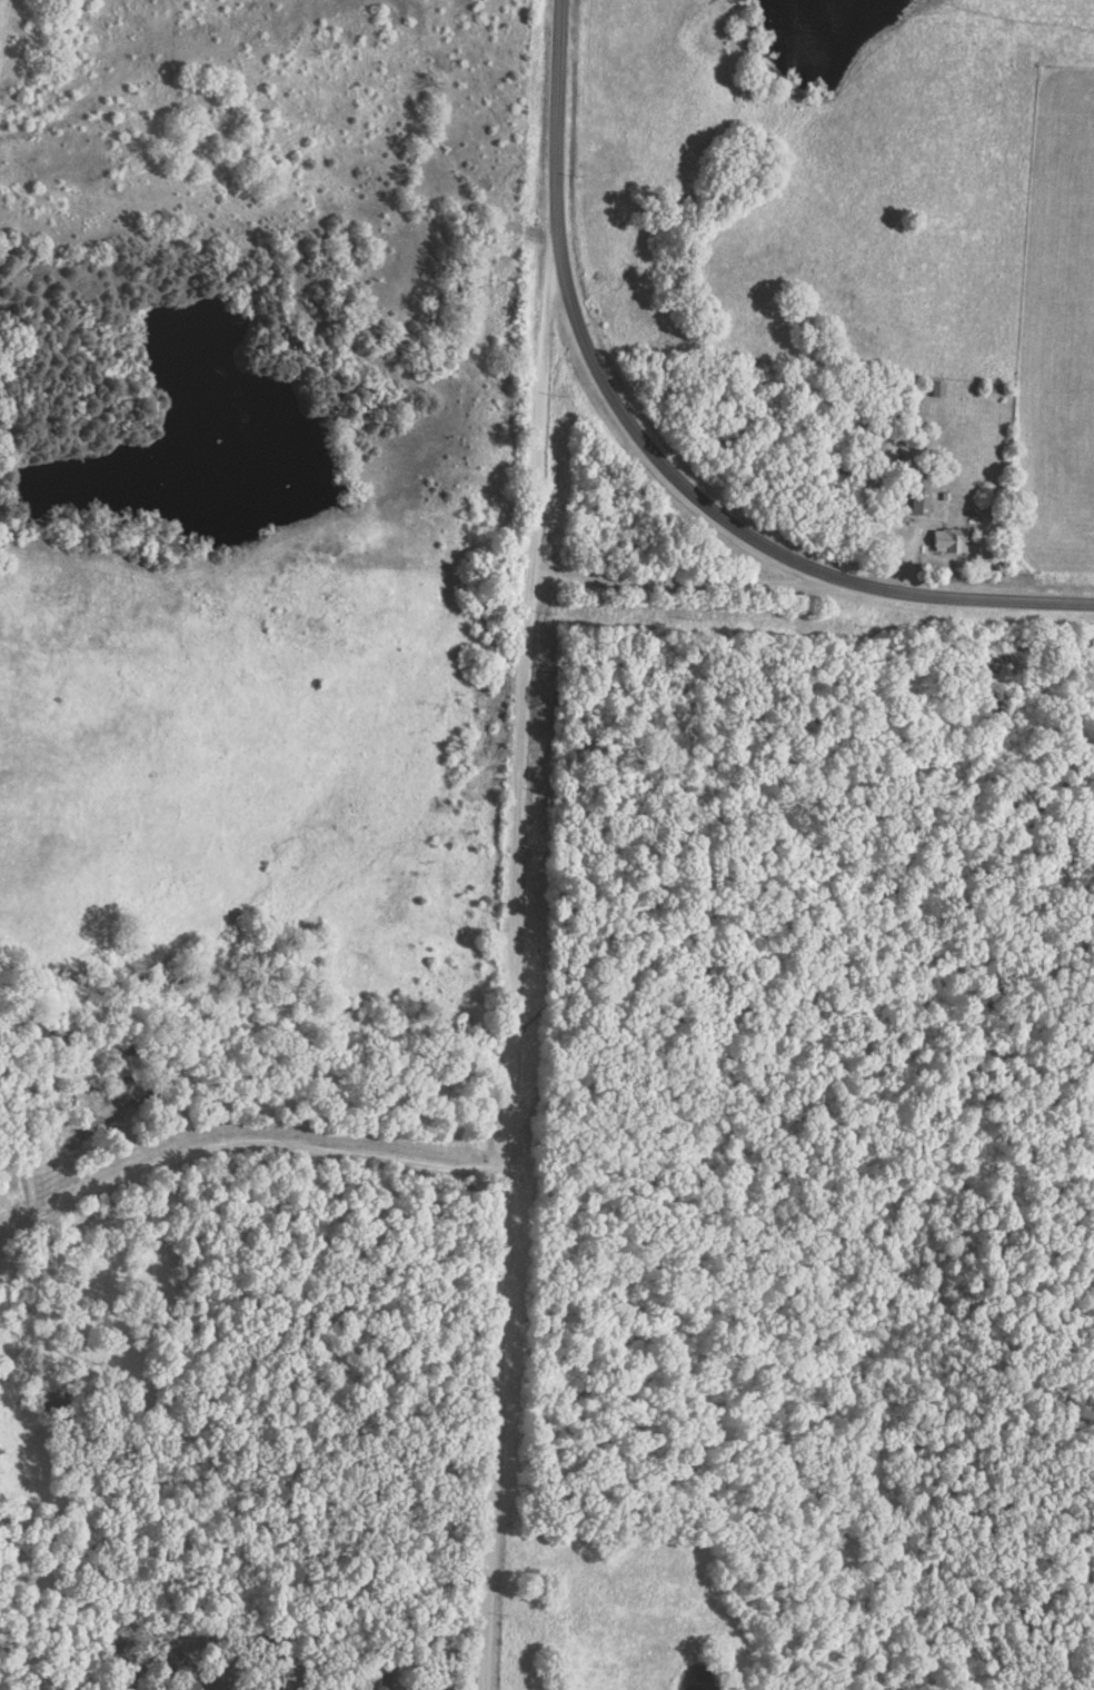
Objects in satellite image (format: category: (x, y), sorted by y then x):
road: (590, 360)
building: (946, 540)
road: (699, 584)
road: (977, 597)
road: (516, 966)
building: (380, 1678)

